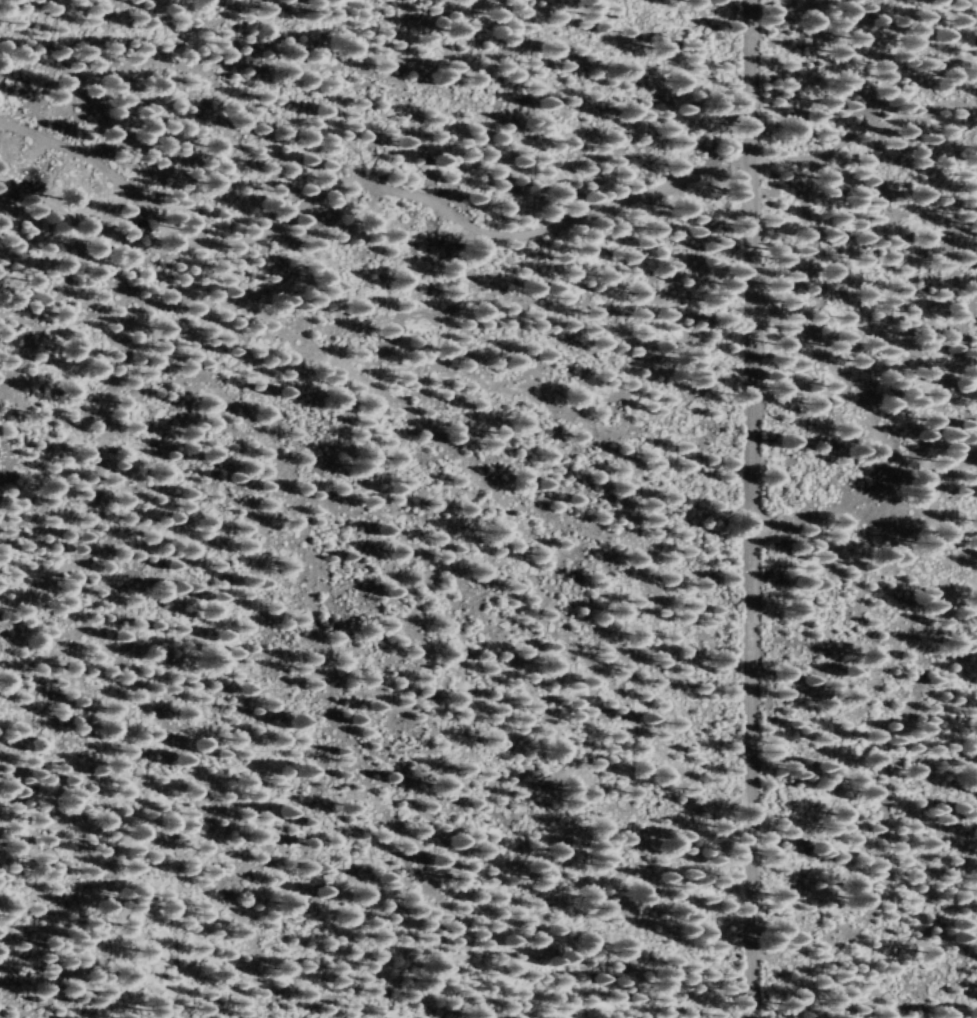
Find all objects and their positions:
road: (752, 508)

